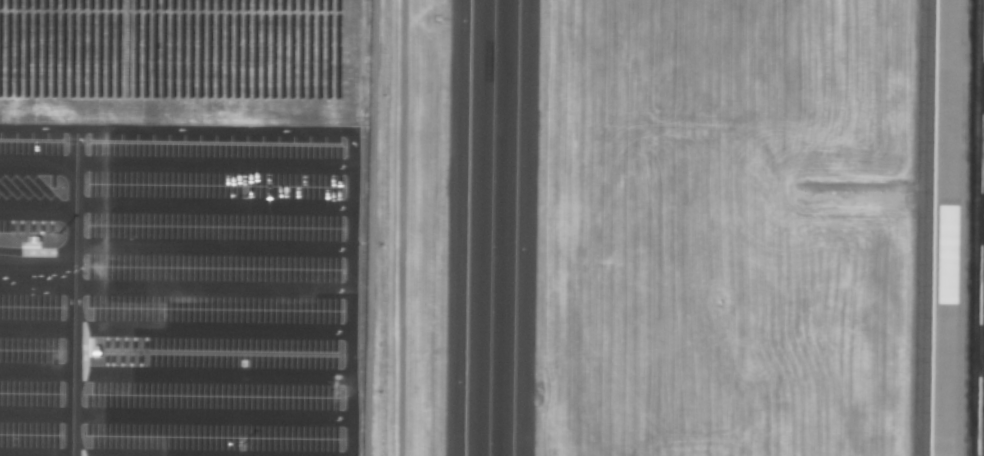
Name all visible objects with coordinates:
road: (75, 132)
road: (252, 133)
road: (176, 172)
parking lot: (182, 182)
road: (176, 217)
airport taxiway: (491, 228)
airport: (492, 228)
road: (353, 240)
road: (74, 258)
road: (149, 258)
road: (251, 262)
airport runway: (981, 262)
road: (175, 303)
road: (176, 344)
road: (175, 384)
parking lot: (178, 410)
road: (147, 420)
road: (351, 421)
road: (175, 422)

